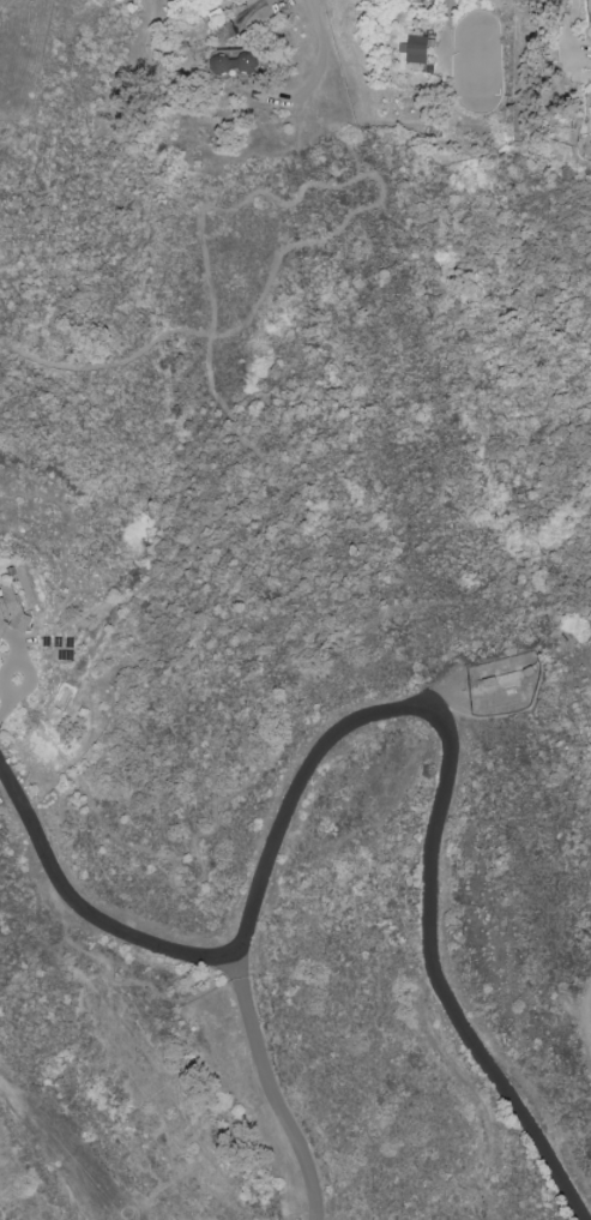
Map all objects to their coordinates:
road: (574, 31)
building: (414, 48)
road: (321, 60)
building: (230, 62)
road: (200, 212)
road: (240, 321)
road: (494, 595)
building: (11, 609)
road: (376, 716)
road: (8, 791)
road: (585, 1015)
road: (267, 1087)

